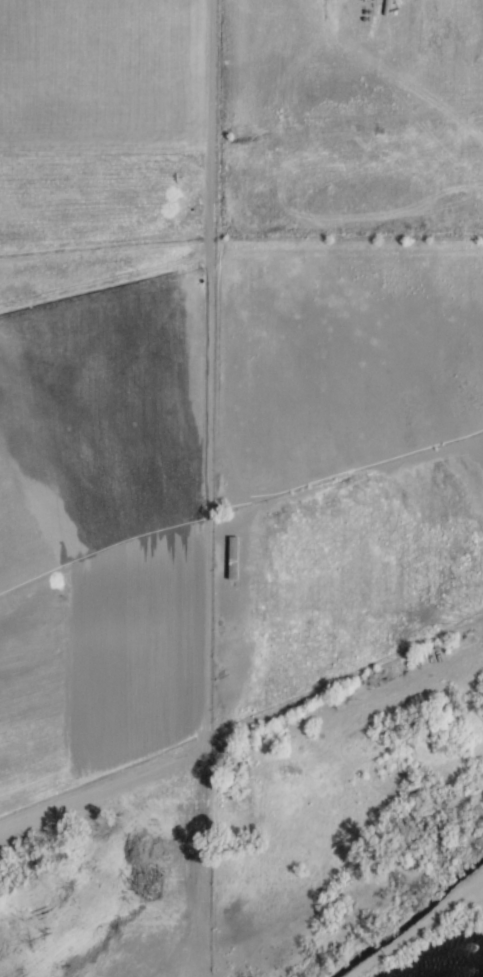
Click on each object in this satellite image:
road: (179, 118)
river: (475, 975)

